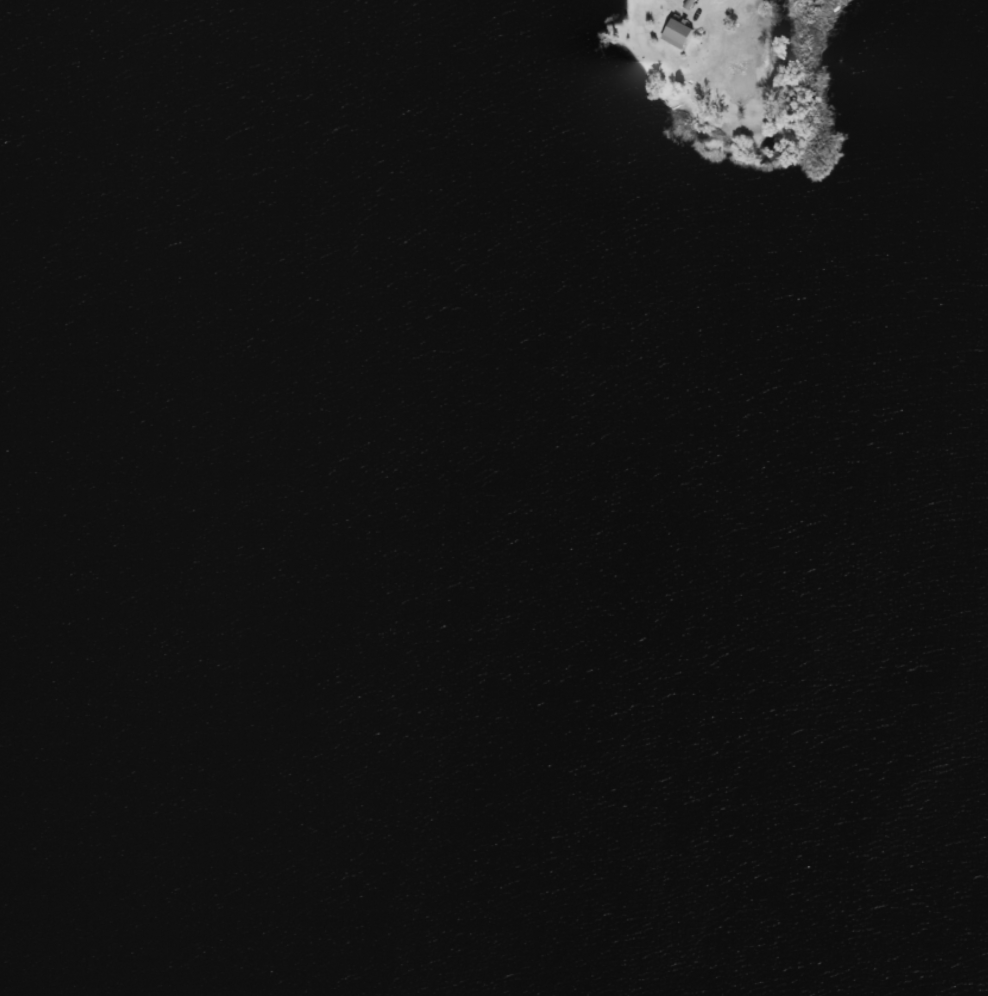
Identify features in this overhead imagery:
river: (44, 952)

